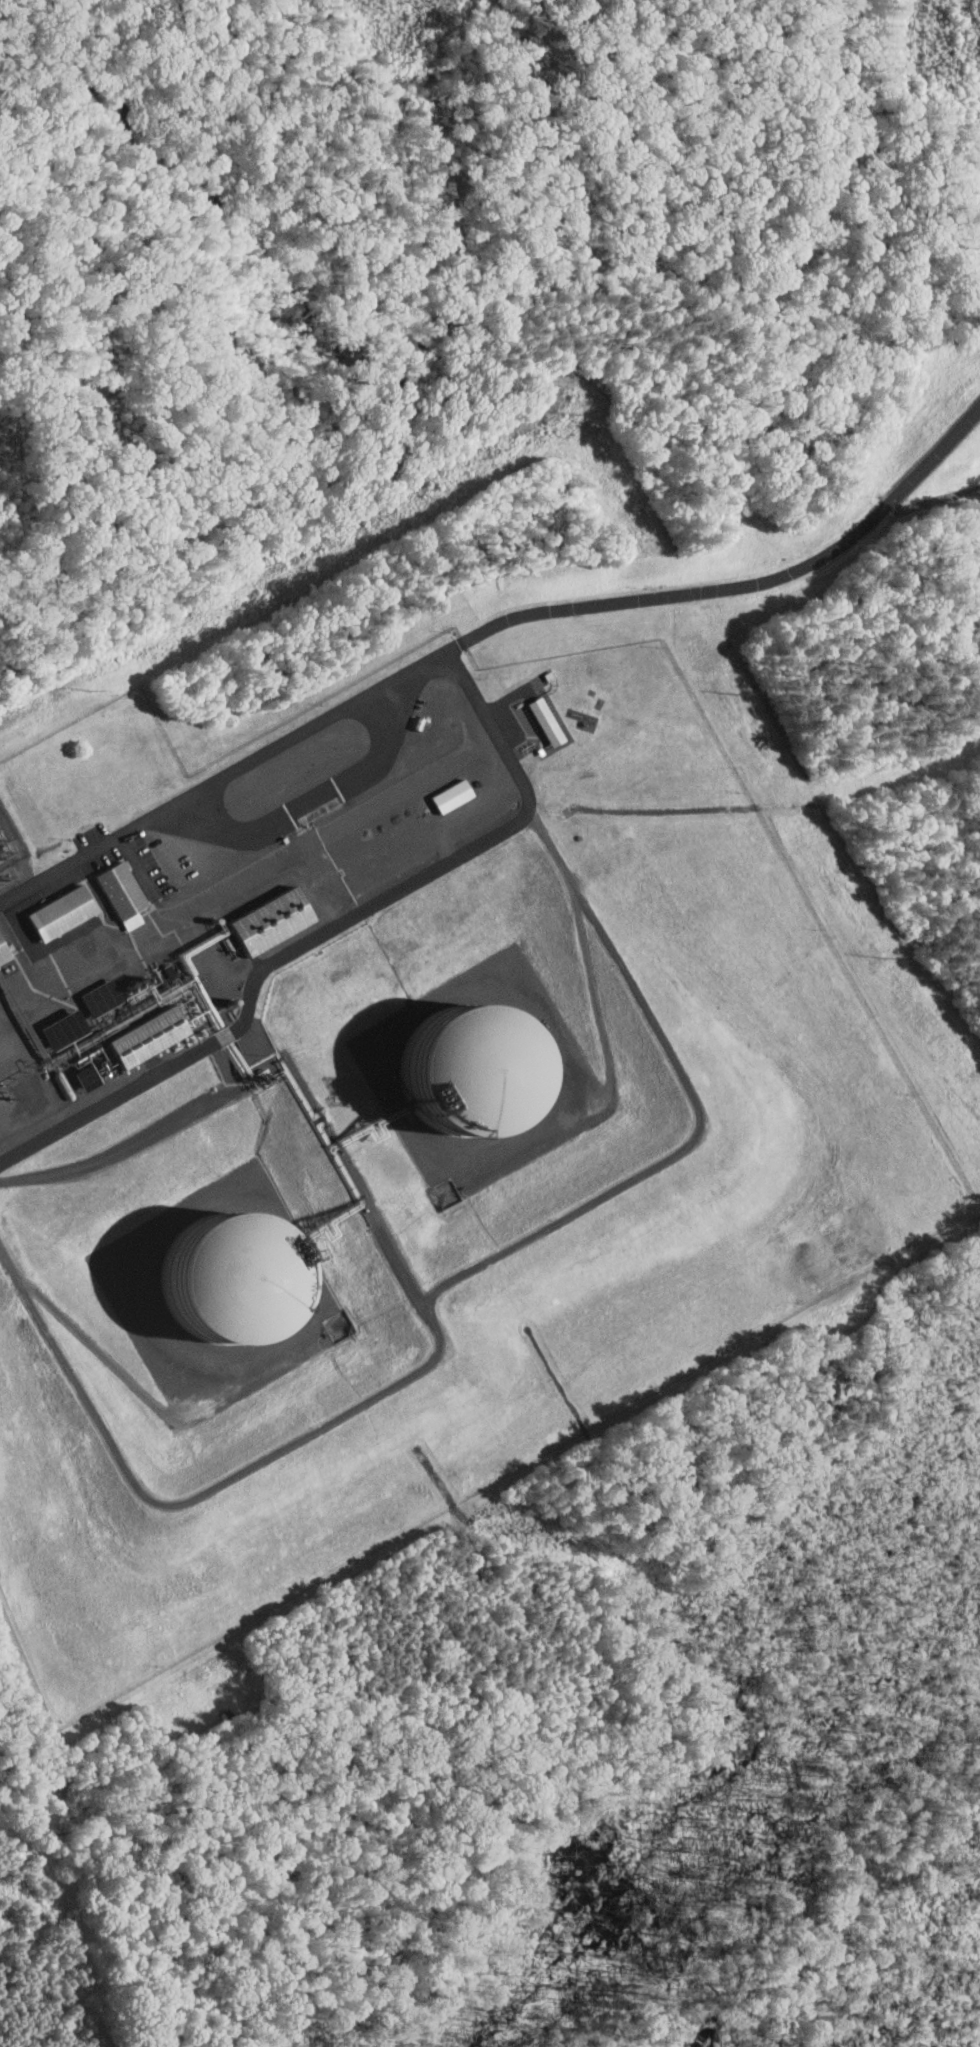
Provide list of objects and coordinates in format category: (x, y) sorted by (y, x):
power tower: (578, 414)
road: (750, 582)
road: (460, 644)
power tower: (90, 690)
power tower: (736, 695)
building: (548, 720)
road: (226, 777)
building: (454, 795)
power substation: (9, 851)
building: (123, 893)
building: (63, 911)
building: (271, 920)
road: (330, 927)
building: (4, 951)
power tower: (889, 958)
building: (102, 997)
building: (172, 1009)
building: (18, 1038)
building: (72, 1044)
river: (855, 1909)

